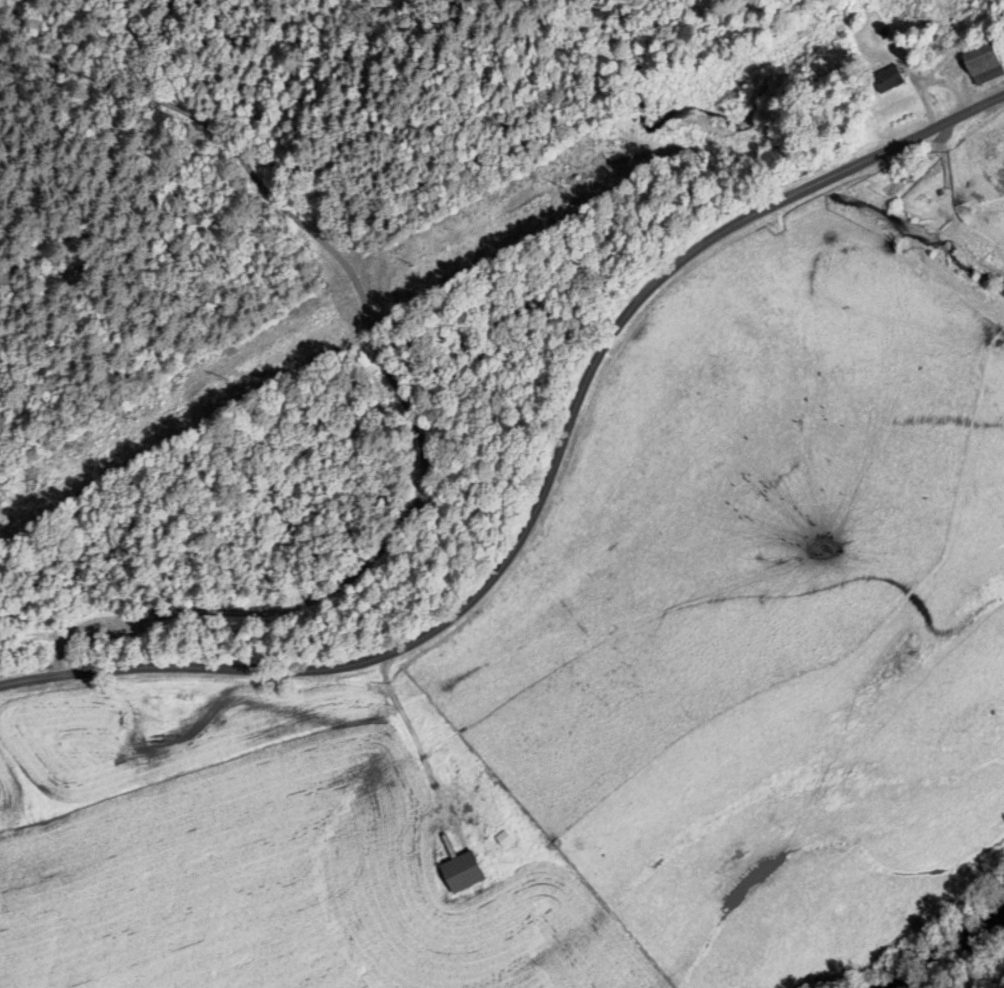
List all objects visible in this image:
building: (984, 64)
building: (887, 79)
road: (546, 484)
building: (502, 840)
building: (464, 872)
river: (947, 946)
road: (983, 973)

